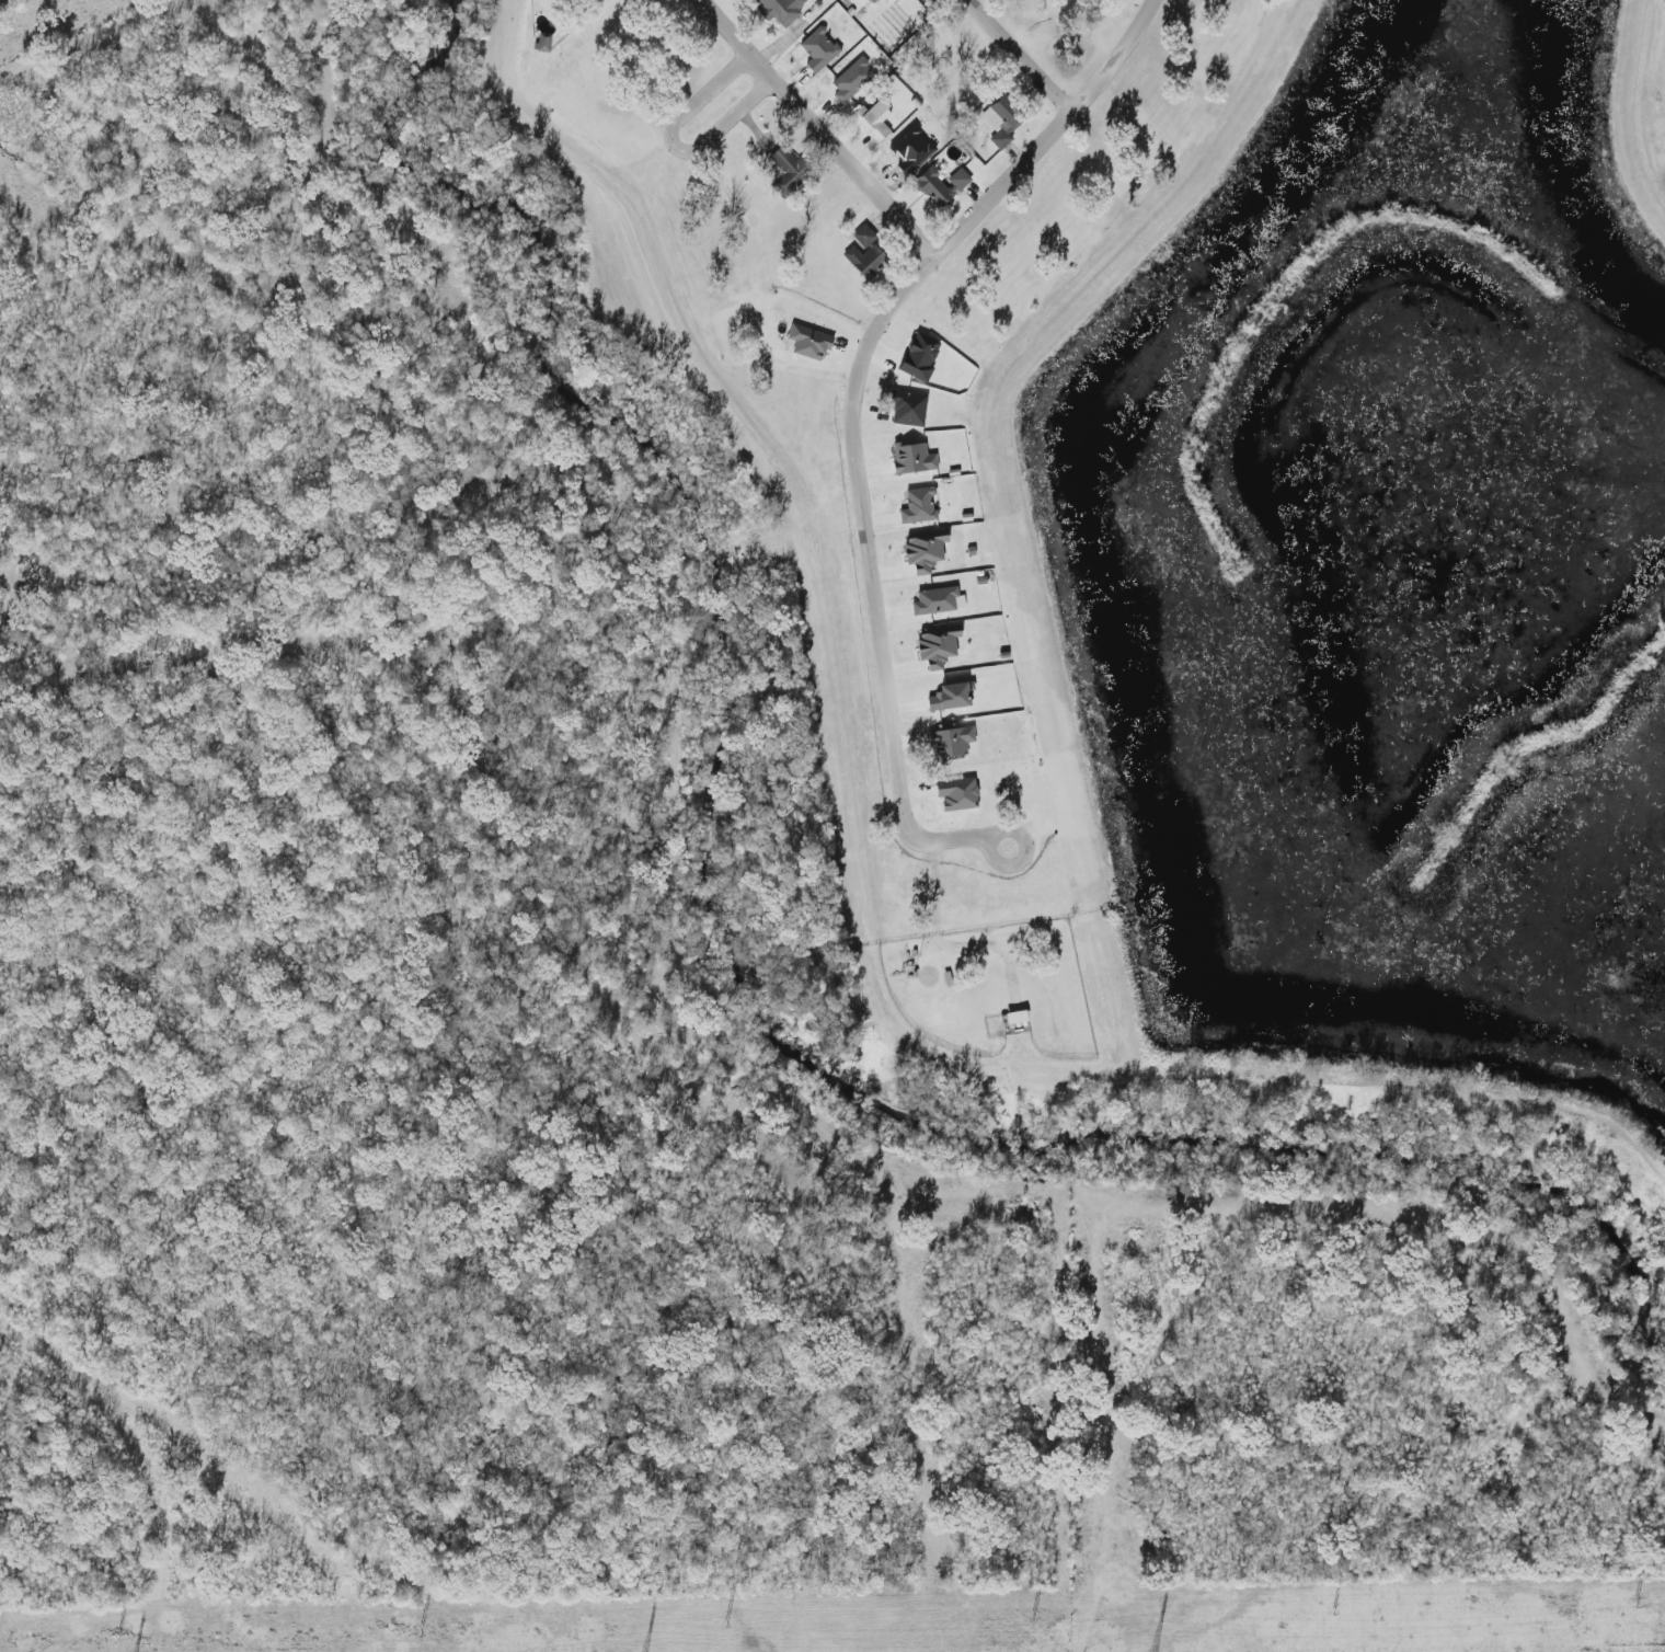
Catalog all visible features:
building: (783, 11)
building: (544, 45)
building: (820, 50)
road: (1022, 59)
building: (853, 81)
road: (727, 89)
building: (879, 119)
building: (1007, 122)
road: (823, 129)
building: (795, 173)
building: (961, 181)
building: (938, 188)
building: (865, 237)
building: (869, 262)
building: (812, 344)
building: (912, 410)
road: (857, 425)
building: (916, 460)
building: (920, 507)
building: (928, 550)
building: (938, 603)
building: (940, 645)
building: (954, 742)
building: (961, 793)
river: (781, 934)
road: (963, 943)
building: (1019, 1018)
power tower: (1634, 1603)
power tower: (1329, 1609)
power tower: (1031, 1615)
power tower: (724, 1621)
power tower: (420, 1628)
power tower: (115, 1636)

